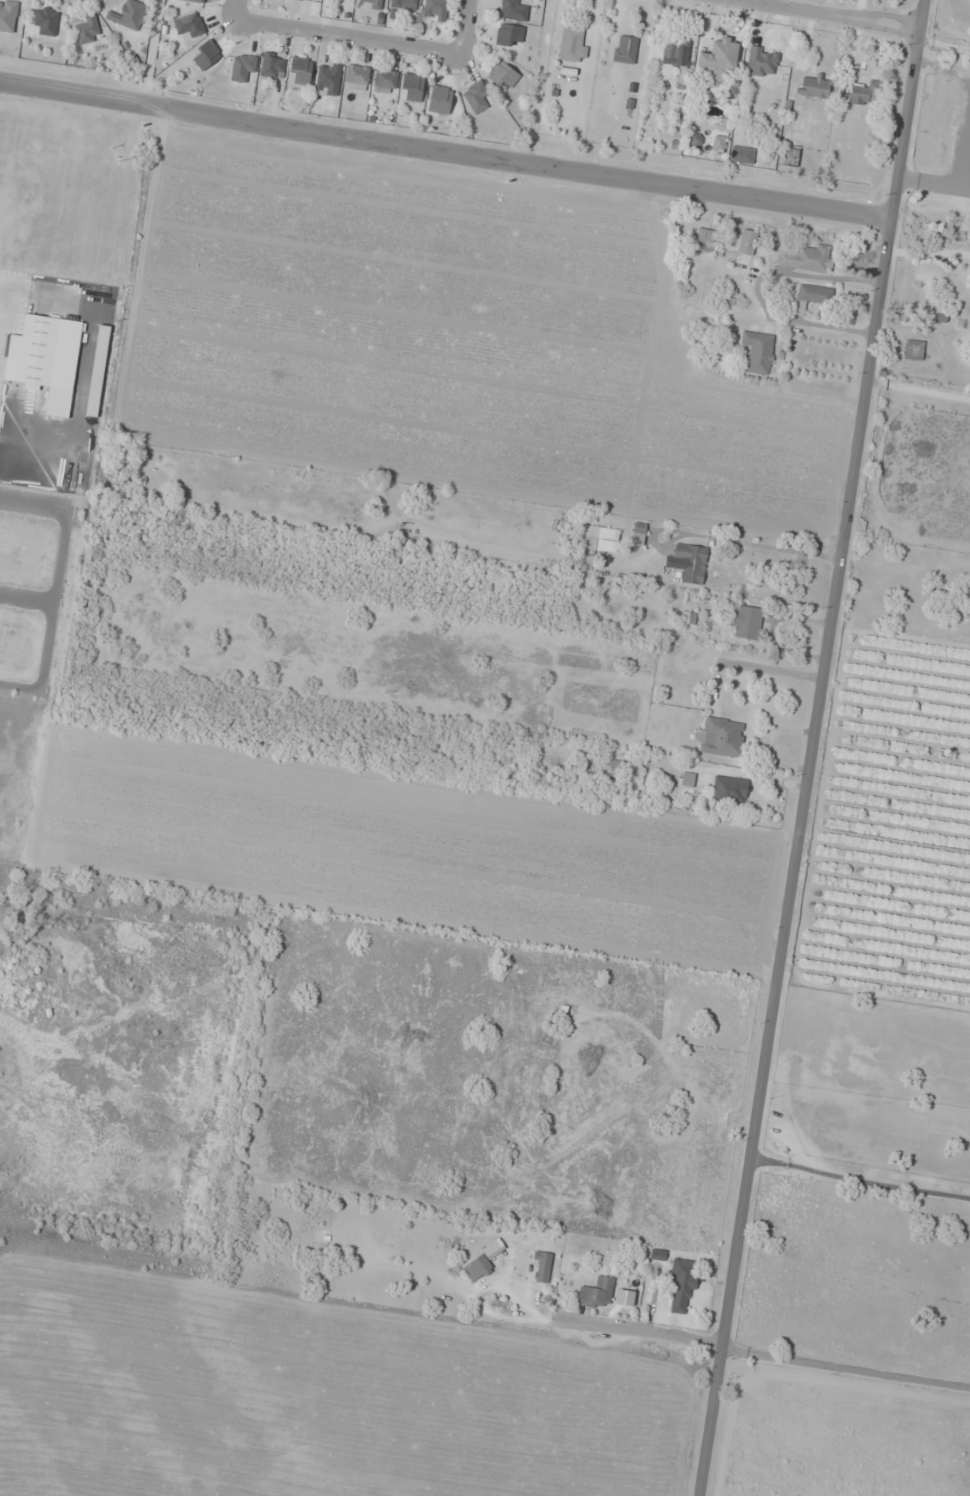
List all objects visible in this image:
building: (193, 1)
building: (371, 3)
building: (435, 10)
building: (513, 10)
road: (235, 12)
road: (814, 14)
road: (924, 14)
building: (128, 15)
building: (45, 21)
building: (88, 29)
road: (466, 29)
building: (509, 35)
road: (347, 42)
building: (573, 45)
building: (625, 49)
building: (675, 54)
building: (206, 55)
building: (719, 61)
building: (762, 61)
building: (272, 65)
building: (243, 68)
building: (301, 69)
building: (503, 75)
building: (357, 77)
building: (328, 78)
building: (385, 81)
building: (814, 86)
building: (412, 87)
building: (864, 93)
building: (476, 97)
building: (440, 100)
road: (446, 151)
building: (705, 240)
building: (747, 242)
building: (806, 258)
building: (810, 298)
building: (34, 350)
building: (913, 351)
building: (758, 352)
building: (602, 537)
building: (691, 562)
building: (688, 617)
building: (746, 621)
building: (722, 737)
road: (813, 762)
building: (616, 769)
building: (687, 779)
building: (731, 791)
building: (482, 1261)
building: (542, 1266)
building: (682, 1286)
building: (597, 1293)
building: (625, 1297)

